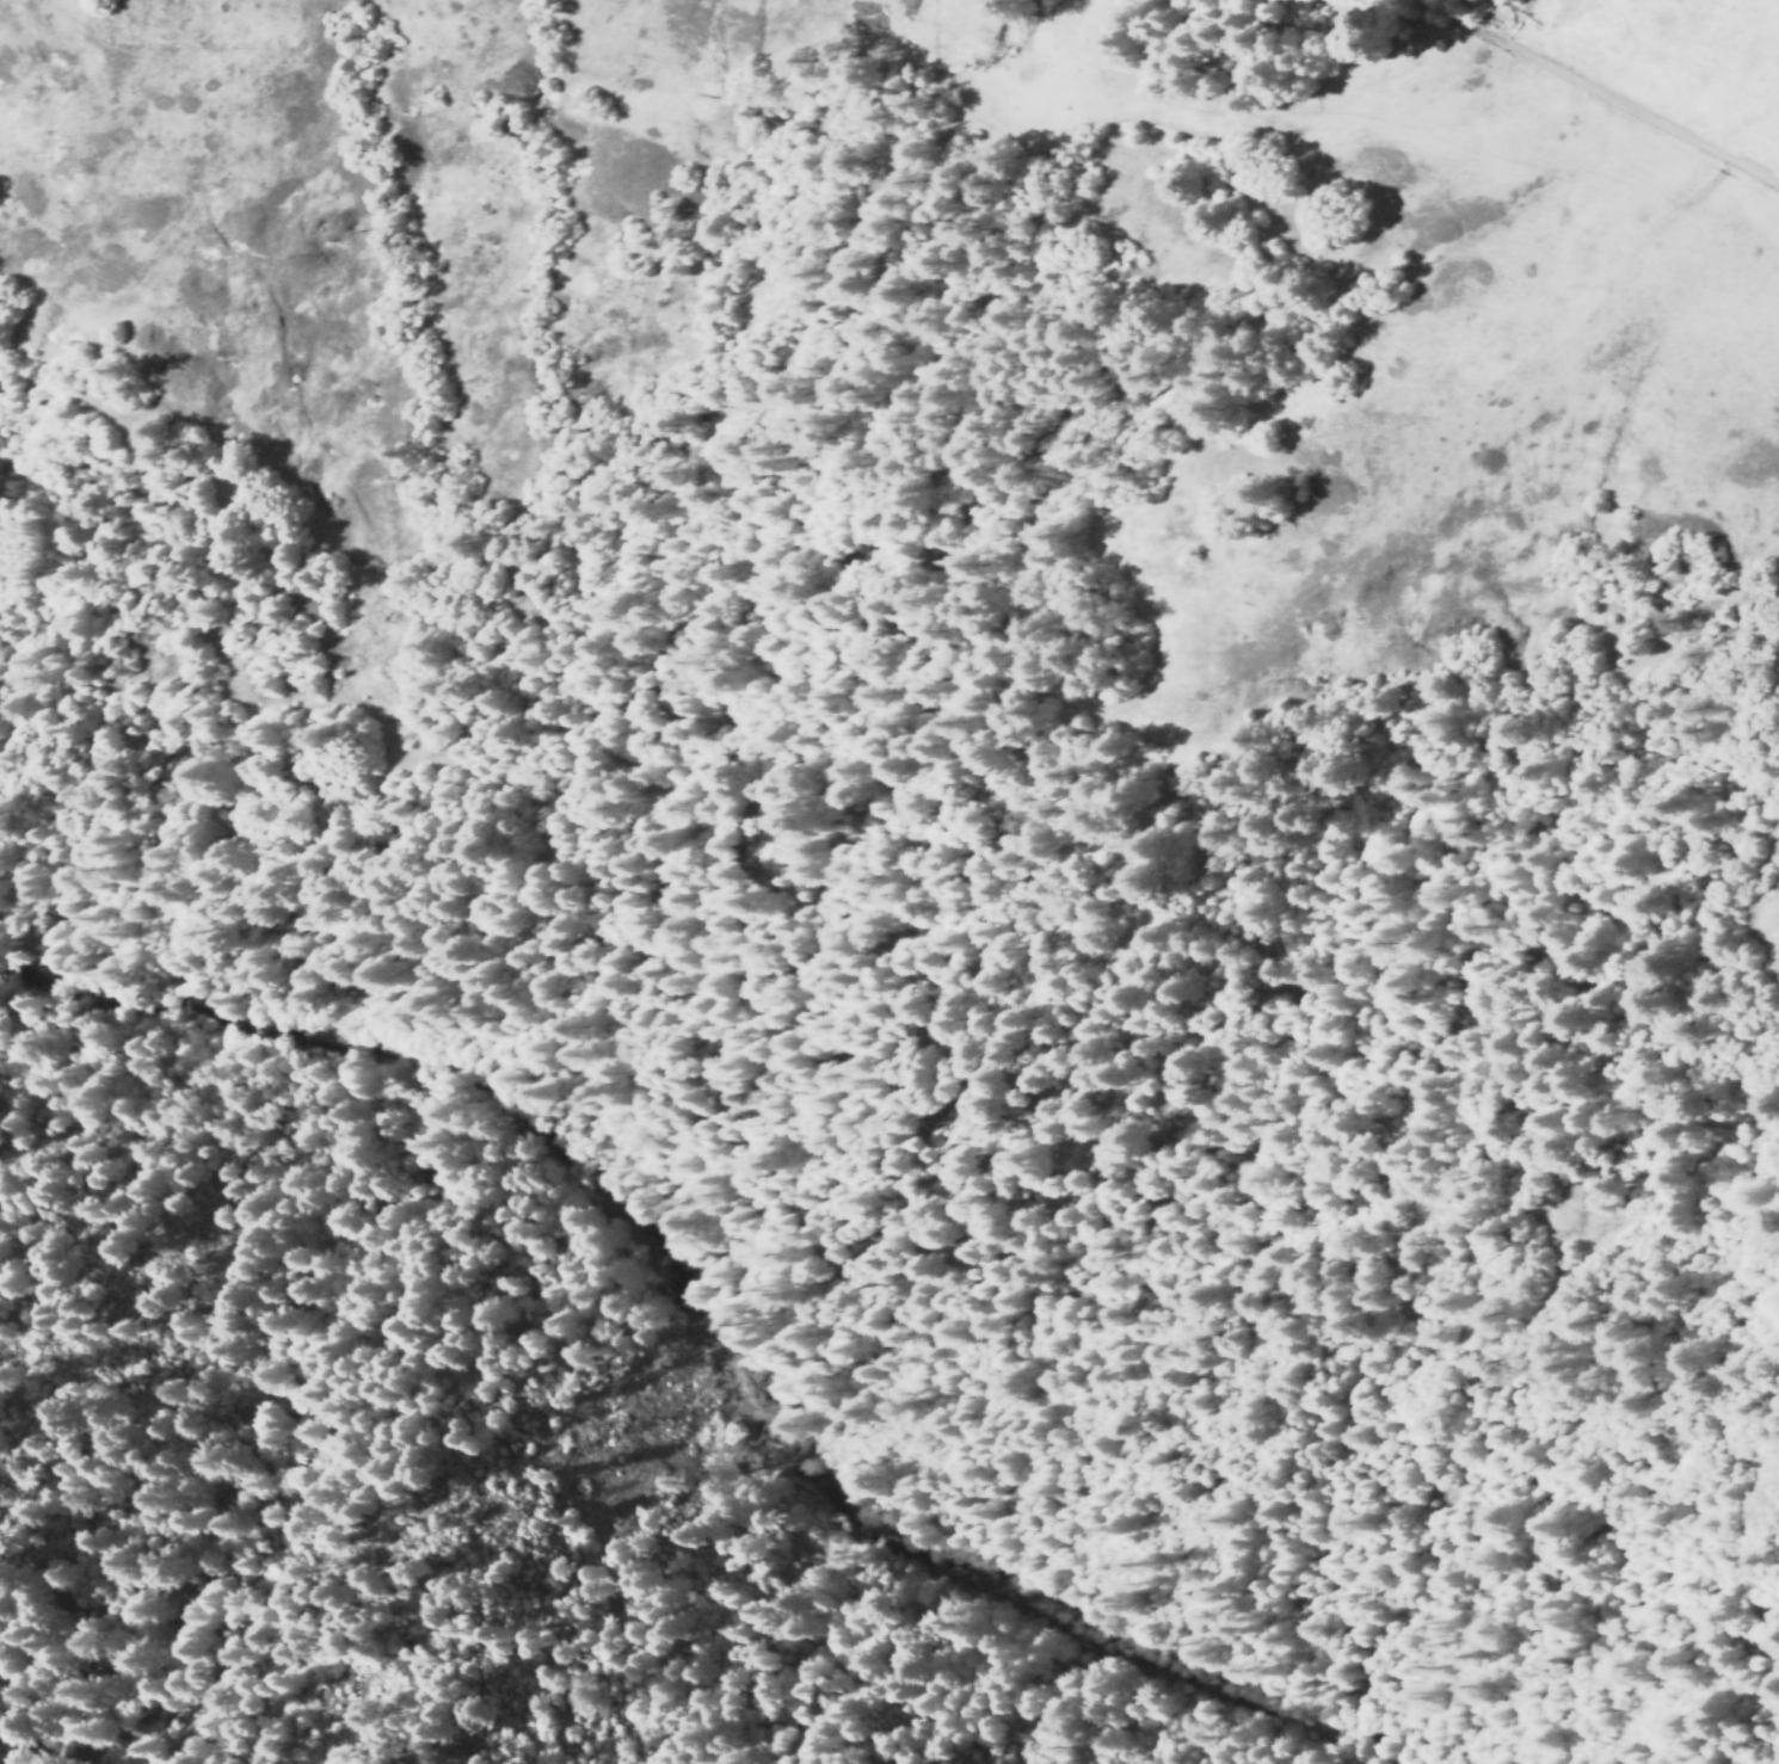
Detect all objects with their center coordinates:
road: (1406, 21)
road: (1619, 118)
road: (1127, 154)

